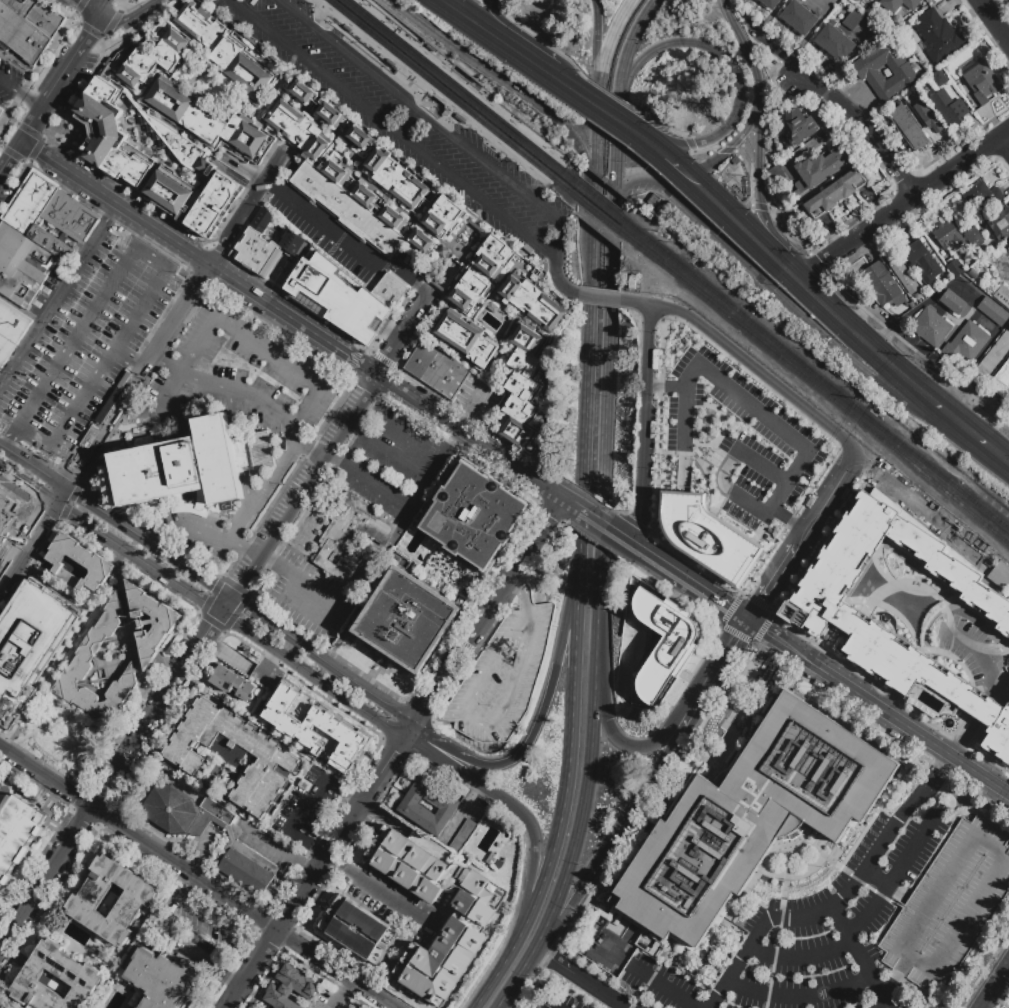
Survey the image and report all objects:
road: (158, 1)
building: (929, 1)
building: (770, 3)
road: (137, 4)
street lamp: (313, 4)
road: (79, 5)
road: (147, 5)
street lamp: (371, 5)
road: (491, 5)
road: (103, 6)
road: (116, 6)
building: (899, 6)
road: (91, 7)
road: (151, 7)
parking lot: (132, 8)
building: (865, 8)
building: (846, 12)
road: (118, 13)
road: (125, 13)
road: (71, 16)
road: (322, 18)
building: (800, 19)
building: (854, 19)
road: (124, 20)
road: (394, 20)
road: (994, 21)
road: (140, 23)
street lamp: (392, 23)
road: (75, 24)
building: (204, 24)
street lamp: (339, 24)
road: (110, 25)
road: (327, 26)
building: (29, 28)
road: (88, 31)
road: (91, 31)
building: (938, 36)
road: (332, 37)
road: (496, 37)
road: (517, 38)
road: (356, 41)
building: (835, 41)
road: (544, 42)
road: (105, 43)
street lamp: (365, 45)
road: (745, 46)
road: (608, 48)
building: (171, 50)
road: (597, 50)
road: (780, 53)
building: (246, 66)
road: (38, 67)
street lamp: (395, 68)
building: (139, 69)
building: (867, 69)
road: (737, 77)
road: (57, 78)
road: (586, 78)
building: (939, 78)
building: (981, 81)
parking lot: (9, 83)
road: (399, 83)
railway: (459, 83)
road: (9, 86)
road: (510, 86)
road: (568, 86)
road: (598, 87)
railway: (457, 90)
railway: (433, 93)
railway: (447, 94)
road: (480, 94)
street lamp: (429, 95)
road: (77, 96)
road: (620, 98)
road: (28, 99)
road: (618, 100)
building: (927, 102)
building: (949, 108)
road: (3, 109)
street lamp: (449, 110)
building: (1, 112)
road: (608, 114)
building: (927, 117)
road: (3, 118)
road: (11, 120)
road: (657, 120)
road: (29, 122)
building: (99, 122)
building: (206, 122)
road: (409, 123)
street lamp: (521, 123)
parking lot: (408, 125)
building: (799, 126)
road: (866, 127)
building: (909, 129)
building: (299, 131)
road: (28, 132)
street lamp: (476, 132)
road: (646, 141)
road: (1005, 141)
road: (734, 143)
road: (689, 144)
building: (177, 145)
road: (0, 147)
road: (35, 149)
street lamp: (554, 149)
road: (706, 149)
road: (728, 151)
road: (9, 154)
road: (10, 154)
building: (736, 161)
street lamp: (516, 163)
road: (22, 164)
road: (675, 164)
building: (127, 169)
building: (389, 169)
building: (820, 170)
road: (751, 176)
building: (779, 178)
road: (760, 182)
road: (16, 186)
building: (169, 191)
building: (835, 193)
building: (983, 195)
building: (30, 201)
building: (652, 201)
road: (247, 205)
building: (352, 205)
road: (903, 205)
building: (214, 206)
road: (760, 207)
railway: (608, 211)
building: (70, 217)
railway: (603, 217)
road: (735, 221)
building: (1001, 225)
road: (331, 228)
road: (782, 233)
building: (948, 237)
building: (974, 237)
building: (423, 242)
building: (263, 246)
road: (545, 249)
building: (1008, 249)
building: (443, 251)
building: (1008, 251)
road: (199, 257)
building: (27, 262)
building: (921, 262)
building: (955, 268)
road: (821, 269)
road: (790, 274)
building: (468, 275)
building: (903, 276)
road: (558, 278)
road: (252, 282)
building: (631, 283)
building: (884, 288)
building: (389, 291)
road: (58, 292)
building: (1003, 295)
road: (599, 298)
building: (530, 301)
building: (765, 301)
building: (954, 303)
building: (341, 304)
building: (492, 308)
road: (19, 309)
building: (993, 312)
road: (801, 318)
building: (13, 323)
building: (931, 328)
road: (858, 336)
road: (405, 337)
building: (466, 341)
building: (966, 343)
road: (199, 345)
building: (6, 350)
road: (586, 350)
road: (922, 357)
building: (992, 358)
road: (167, 361)
road: (747, 362)
road: (286, 364)
building: (436, 371)
road: (136, 376)
building: (1002, 381)
railway: (826, 384)
road: (394, 385)
building: (522, 386)
road: (170, 388)
road: (666, 388)
railway: (825, 394)
road: (238, 396)
road: (173, 403)
road: (421, 404)
road: (750, 404)
road: (469, 410)
road: (643, 415)
road: (446, 421)
road: (964, 426)
road: (360, 430)
road: (464, 434)
road: (403, 435)
parking lot: (745, 440)
road: (302, 445)
road: (487, 449)
building: (260, 450)
road: (239, 451)
road: (458, 457)
road: (401, 459)
road: (335, 461)
road: (320, 463)
parking lot: (394, 464)
building: (178, 469)
road: (765, 469)
road: (434, 470)
road: (727, 476)
road: (534, 481)
road: (377, 488)
road: (263, 492)
road: (829, 494)
road: (586, 515)
building: (9, 516)
parking garage: (9, 516)
building: (475, 517)
power substation: (935, 517)
road: (789, 520)
building: (349, 533)
road: (204, 534)
road: (543, 534)
road: (632, 534)
road: (618, 536)
building: (711, 536)
road: (32, 537)
road: (802, 538)
road: (11, 550)
building: (79, 561)
road: (601, 567)
road: (517, 573)
building: (1000, 575)
road: (246, 576)
road: (688, 582)
road: (207, 583)
road: (536, 583)
road: (773, 583)
road: (522, 595)
parking lot: (312, 598)
road: (201, 602)
road: (332, 605)
building: (408, 620)
traffic signals: (749, 621)
building: (151, 622)
building: (860, 626)
road: (783, 637)
building: (31, 640)
road: (135, 644)
road: (777, 645)
building: (662, 646)
road: (493, 648)
road: (64, 651)
parking lot: (971, 657)
building: (84, 658)
road: (458, 658)
building: (242, 659)
road: (714, 672)
building: (500, 675)
parking garage: (500, 675)
building: (268, 676)
building: (231, 683)
road: (987, 688)
building: (287, 695)
building: (311, 708)
building: (259, 716)
road: (892, 716)
road: (65, 723)
road: (480, 723)
fountain: (945, 726)
building: (282, 729)
road: (887, 733)
road: (61, 734)
road: (531, 737)
road: (624, 743)
building: (232, 754)
building: (338, 754)
road: (73, 760)
road: (570, 760)
road: (659, 768)
building: (810, 769)
road: (939, 773)
road: (67, 774)
road: (114, 774)
road: (985, 778)
road: (68, 783)
road: (1003, 790)
road: (353, 799)
road: (507, 802)
building: (410, 806)
road: (307, 807)
road: (860, 829)
building: (16, 832)
building: (463, 838)
building: (231, 841)
road: (271, 845)
road: (318, 853)
building: (490, 859)
road: (1004, 864)
building: (699, 865)
road: (591, 866)
road: (308, 869)
road: (844, 870)
road: (314, 872)
road: (895, 877)
road: (195, 878)
road: (863, 878)
road: (754, 881)
road: (192, 882)
road: (368, 886)
road: (888, 886)
building: (83, 900)
building: (950, 907)
parking garage: (950, 907)
road: (210, 917)
road: (9, 918)
building: (470, 921)
building: (359, 930)
parking lot: (812, 934)
road: (258, 948)
road: (859, 952)
road: (802, 958)
road: (504, 962)
road: (739, 963)
road: (774, 963)
road: (525, 966)
building: (76, 973)
road: (581, 978)
road: (653, 978)
building: (163, 979)
road: (994, 986)
building: (290, 988)
road: (665, 989)
road: (799, 997)
parking lot: (562, 1000)
road: (885, 1001)
building: (0, 1007)
building: (2, 1007)

